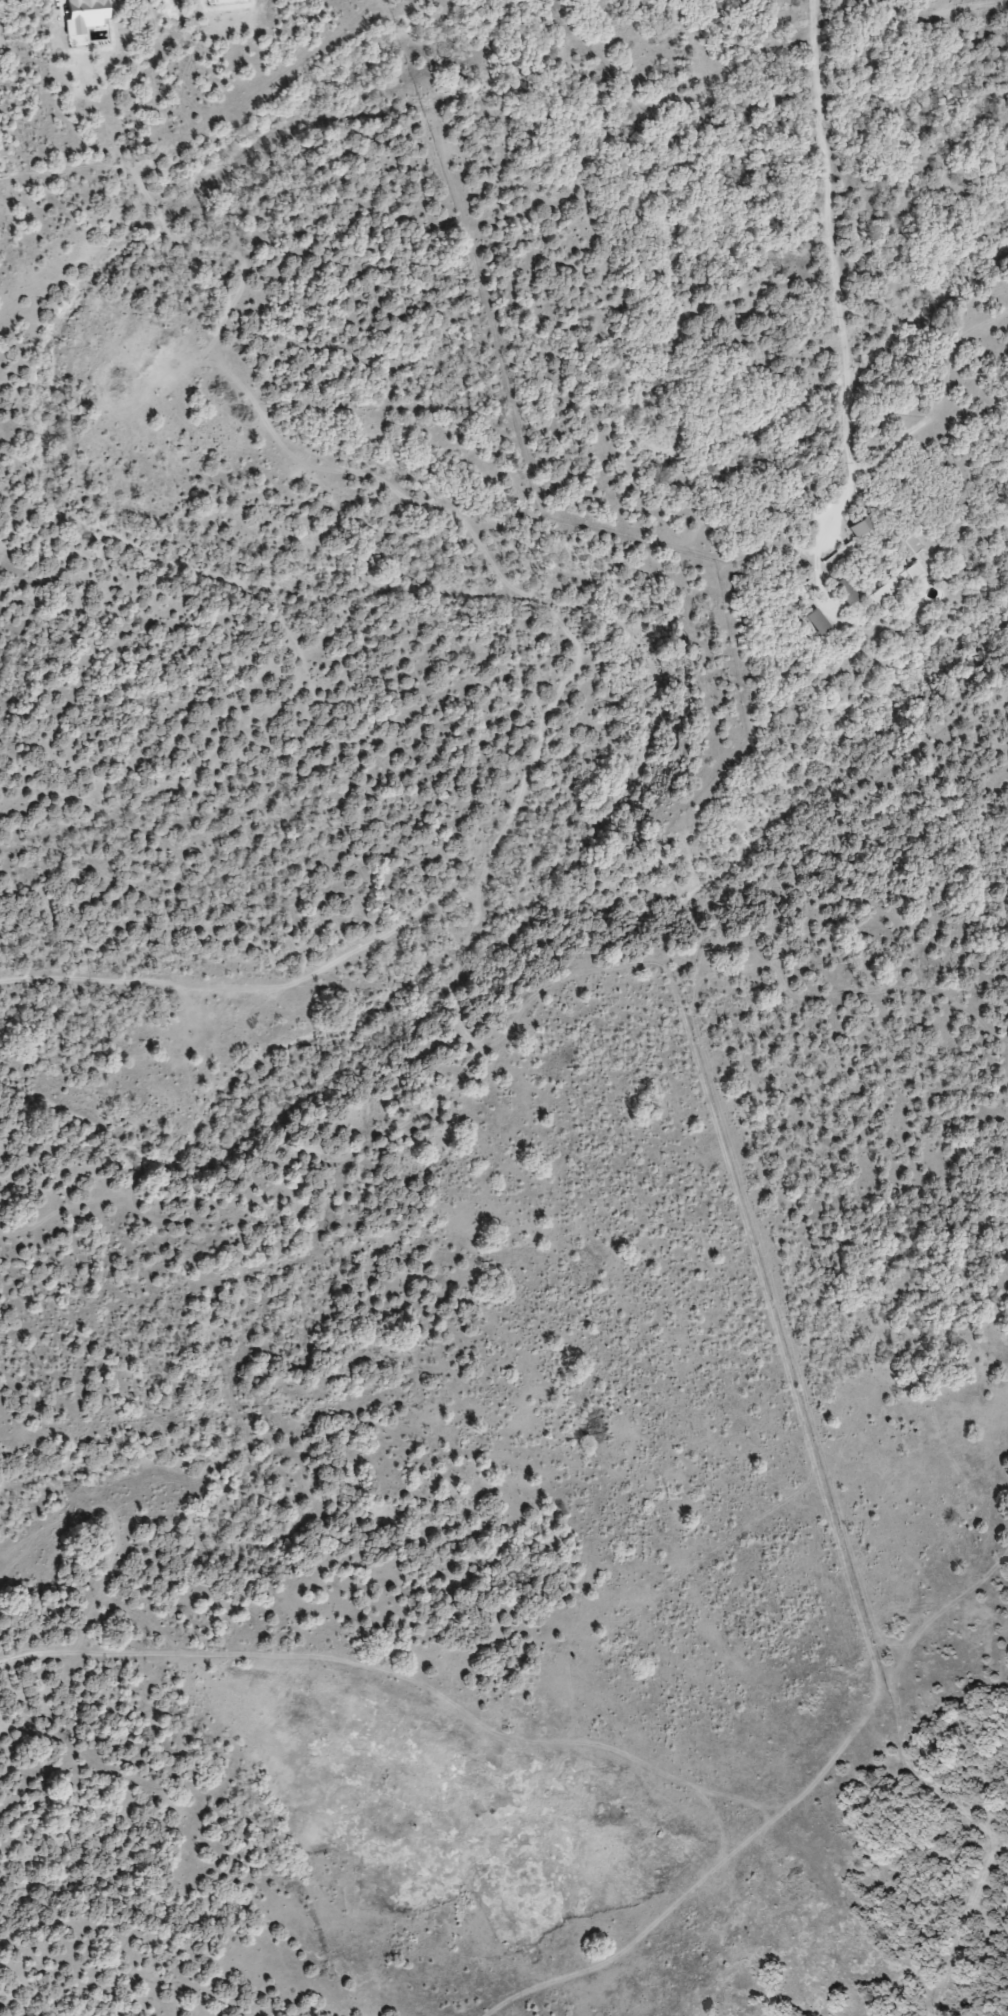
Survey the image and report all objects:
building: (860, 525)
building: (844, 591)
building: (817, 623)

